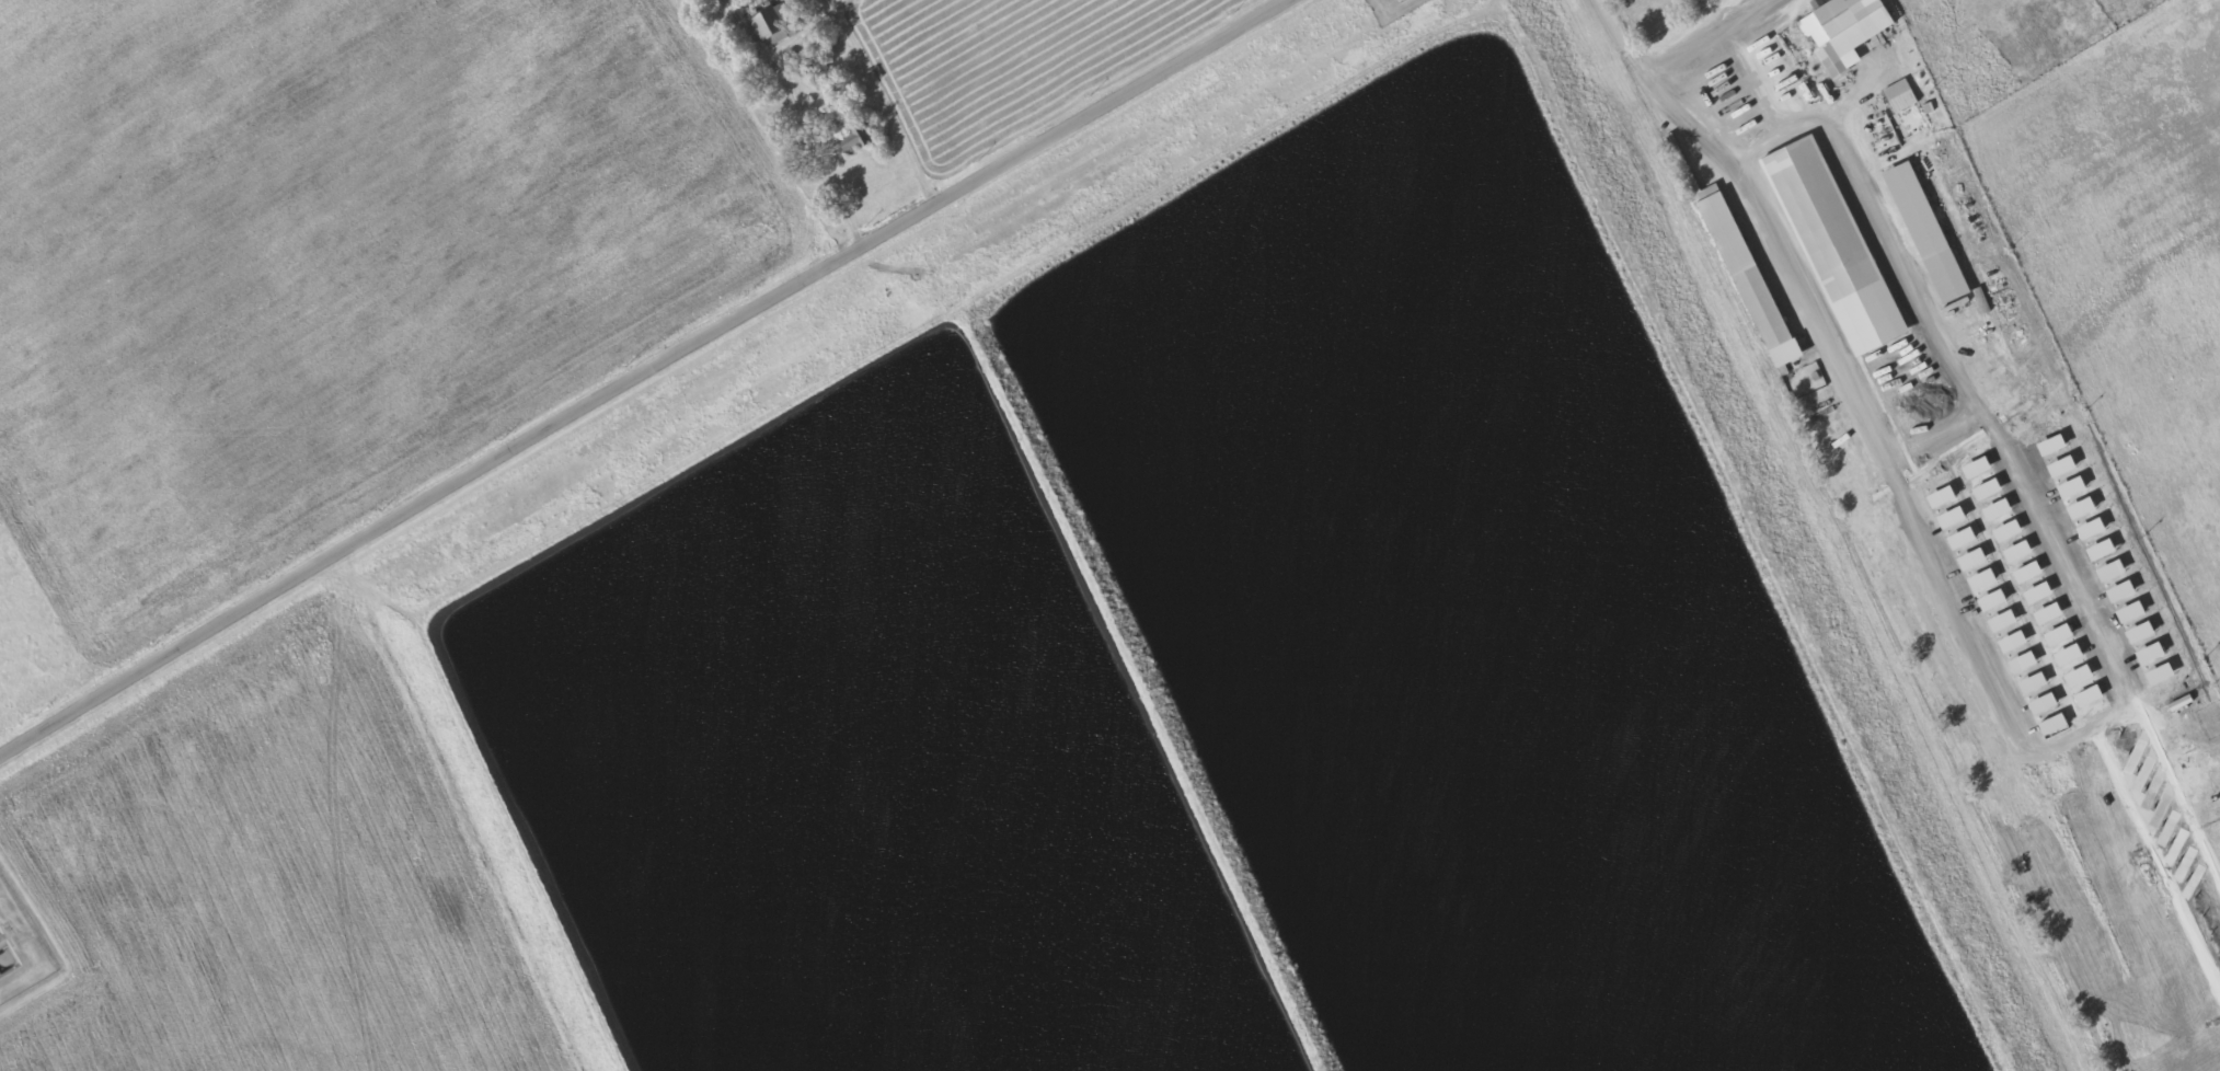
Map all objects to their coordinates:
building: (1729, 3)
building: (1838, 19)
building: (774, 27)
road: (1710, 41)
building: (860, 139)
road: (1841, 372)
road: (647, 380)

